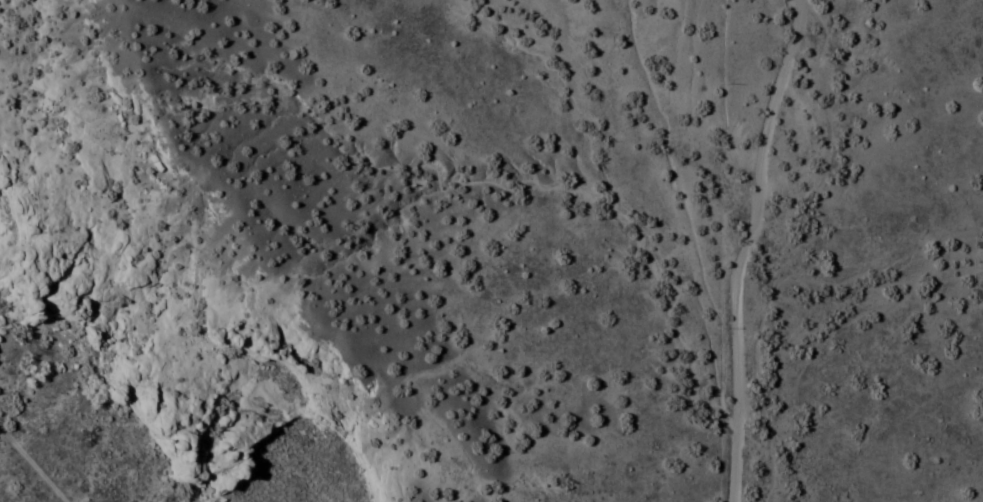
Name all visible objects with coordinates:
road: (748, 248)

